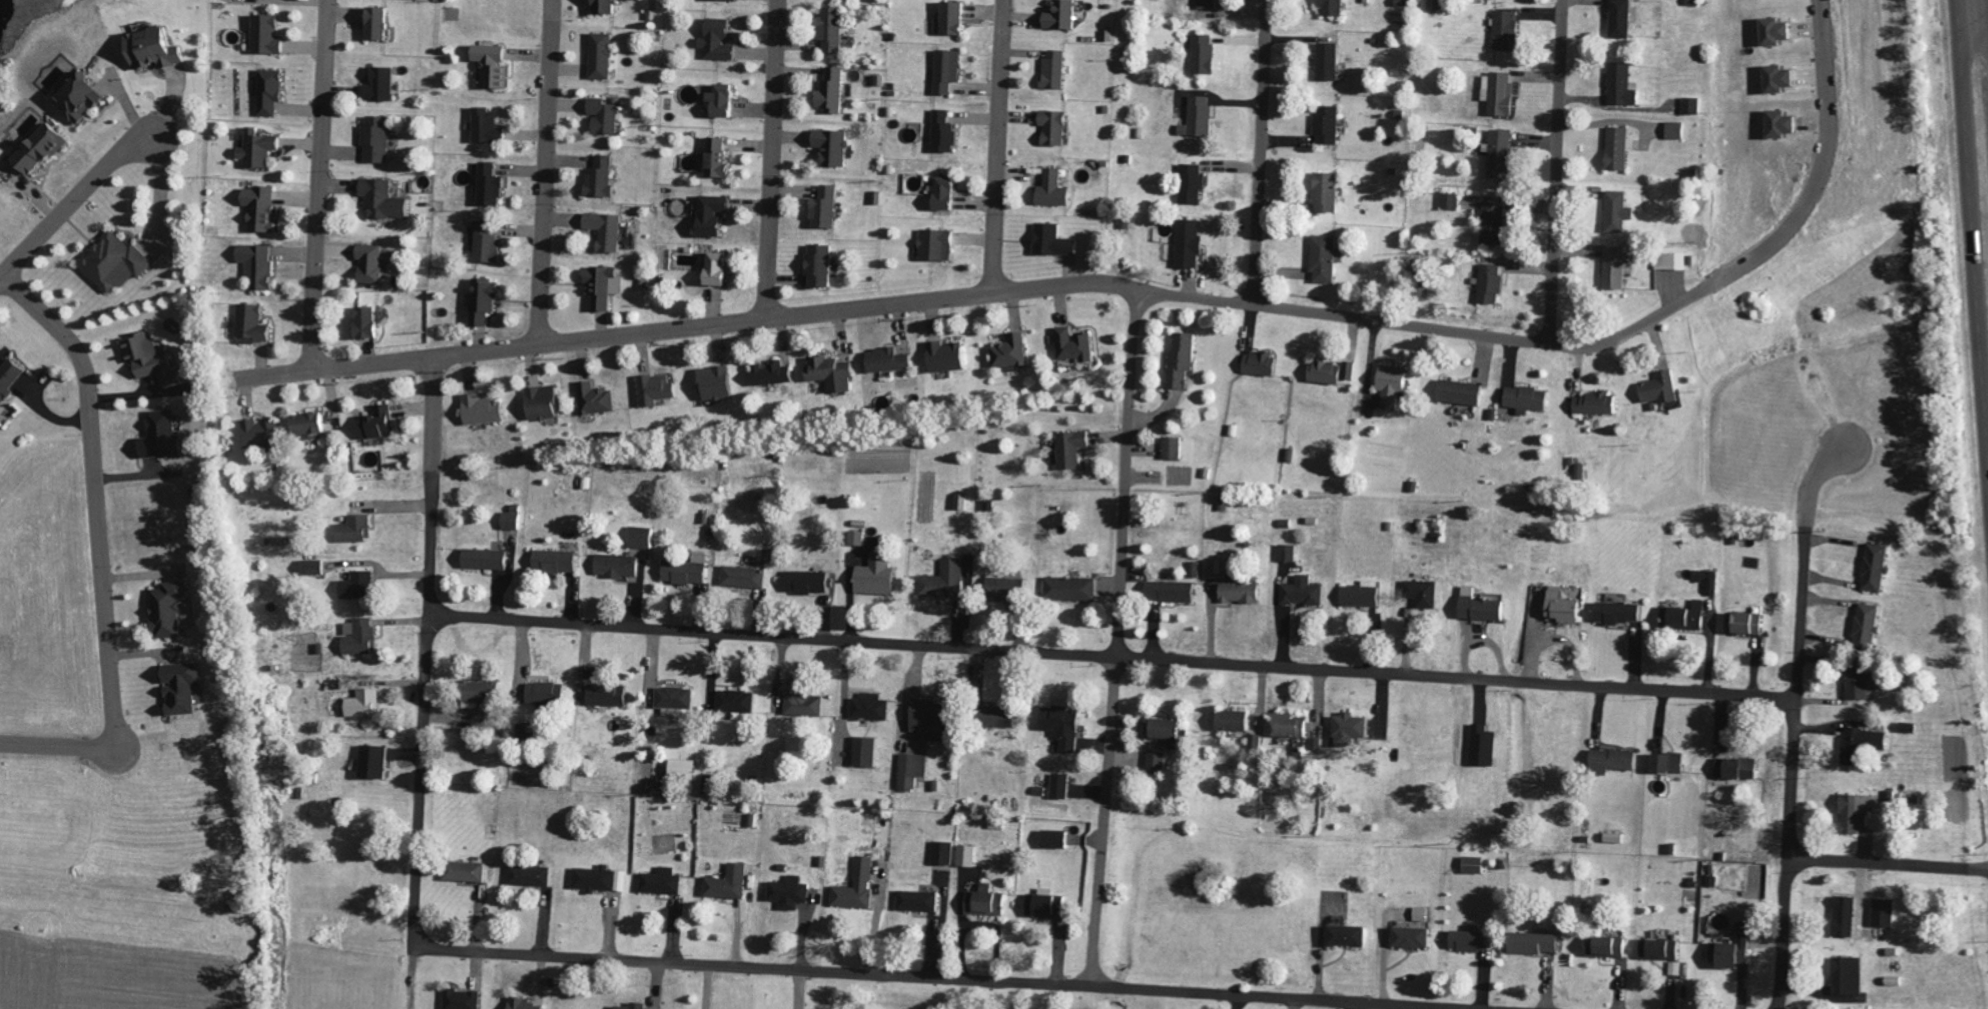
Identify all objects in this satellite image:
building: (1209, 4)
building: (609, 6)
building: (1335, 7)
building: (1065, 16)
building: (958, 18)
building: (1623, 18)
building: (381, 23)
building: (835, 29)
building: (1509, 30)
building: (1782, 31)
road: (1973, 31)
building: (269, 34)
building: (722, 40)
building: (158, 45)
building: (1206, 54)
building: (605, 55)
building: (1331, 61)
building: (496, 65)
building: (1059, 69)
building: (951, 70)
building: (1782, 78)
building: (382, 84)
building: (1624, 85)
building: (272, 91)
building: (835, 91)
building: (1502, 92)
building: (83, 97)
building: (727, 100)
building: (1694, 106)
building: (608, 116)
building: (1202, 117)
building: (1330, 125)
building: (489, 126)
building: (1058, 127)
building: (1678, 130)
building: (947, 132)
building: (379, 139)
road: (997, 146)
building: (835, 147)
building: (260, 148)
building: (1623, 148)
building: (44, 149)
road: (1259, 152)
building: (1503, 154)
building: (721, 157)
road: (770, 159)
road: (544, 172)
road: (1555, 172)
building: (603, 178)
building: (1195, 183)
road: (163, 185)
road: (317, 185)
building: (493, 185)
building: (1057, 190)
building: (1330, 192)
building: (950, 193)
road: (74, 195)
building: (386, 199)
building: (1452, 201)
building: (263, 208)
building: (828, 208)
building: (1621, 211)
building: (716, 215)
building: (1494, 223)
road: (1971, 229)
building: (609, 230)
building: (489, 241)
building: (1057, 241)
building: (1192, 244)
building: (939, 245)
building: (1328, 258)
building: (1674, 261)
building: (117, 262)
building: (373, 263)
building: (261, 266)
building: (822, 266)
building: (721, 268)
building: (1619, 269)
building: (1493, 281)
building: (606, 286)
road: (1146, 292)
building: (486, 300)
building: (372, 322)
building: (256, 325)
building: (1078, 345)
building: (1014, 353)
building: (950, 356)
building: (1185, 359)
building: (154, 360)
building: (892, 360)
building: (1264, 364)
building: (1333, 372)
building: (775, 373)
building: (835, 374)
building: (10, 381)
building: (719, 383)
building: (1396, 385)
building: (659, 389)
building: (1662, 389)
building: (1465, 392)
building: (598, 399)
building: (1531, 399)
building: (546, 403)
building: (1599, 403)
building: (485, 410)
road: (432, 420)
building: (383, 423)
building: (314, 424)
building: (265, 434)
building: (165, 436)
building: (1175, 448)
building: (1074, 449)
building: (964, 501)
building: (514, 520)
building: (358, 529)
building: (643, 537)
building: (859, 538)
road: (100, 553)
building: (1290, 553)
building: (770, 556)
building: (489, 559)
building: (559, 562)
building: (622, 566)
building: (316, 567)
building: (1878, 567)
building: (689, 571)
building: (880, 576)
building: (747, 577)
building: (946, 581)
building: (810, 582)
building: (362, 586)
building: (1009, 589)
building: (1074, 589)
building: (1175, 591)
building: (1243, 591)
building: (1305, 592)
building: (1365, 594)
building: (1425, 595)
building: (1485, 607)
building: (1567, 607)
building: (174, 609)
building: (1625, 613)
building: (1691, 616)
building: (1748, 623)
building: (1869, 626)
building: (363, 637)
road: (1117, 638)
road: (1112, 655)
building: (1862, 683)
building: (188, 687)
building: (484, 693)
building: (550, 694)
building: (611, 695)
building: (678, 700)
building: (739, 701)
building: (368, 703)
building: (806, 704)
building: (873, 707)
road: (1795, 709)
road: (423, 716)
building: (1005, 717)
building: (936, 720)
building: (1239, 720)
building: (1066, 726)
building: (1295, 726)
building: (1171, 729)
building: (1354, 731)
building: (1259, 741)
building: (1865, 744)
building: (870, 752)
building: (1617, 760)
building: (378, 762)
building: (1161, 763)
building: (1672, 763)
building: (779, 765)
building: (1740, 768)
building: (687, 770)
building: (914, 771)
building: (1063, 786)
building: (1857, 813)
building: (1058, 839)
building: (945, 853)
building: (969, 856)
road: (1887, 864)
building: (1476, 865)
building: (468, 872)
building: (533, 876)
building: (602, 880)
building: (731, 883)
building: (664, 884)
building: (860, 886)
building: (793, 893)
building: (920, 901)
building: (989, 902)
building: (1049, 906)
building: (1886, 912)
building: (1424, 913)
building: (1849, 916)
building: (1349, 935)
building: (1416, 936)
building: (1472, 940)
building: (1538, 942)
building: (1609, 946)
building: (1662, 948)
building: (1736, 948)
building: (1851, 975)
road: (939, 976)
building: (465, 1000)
building: (527, 1004)

